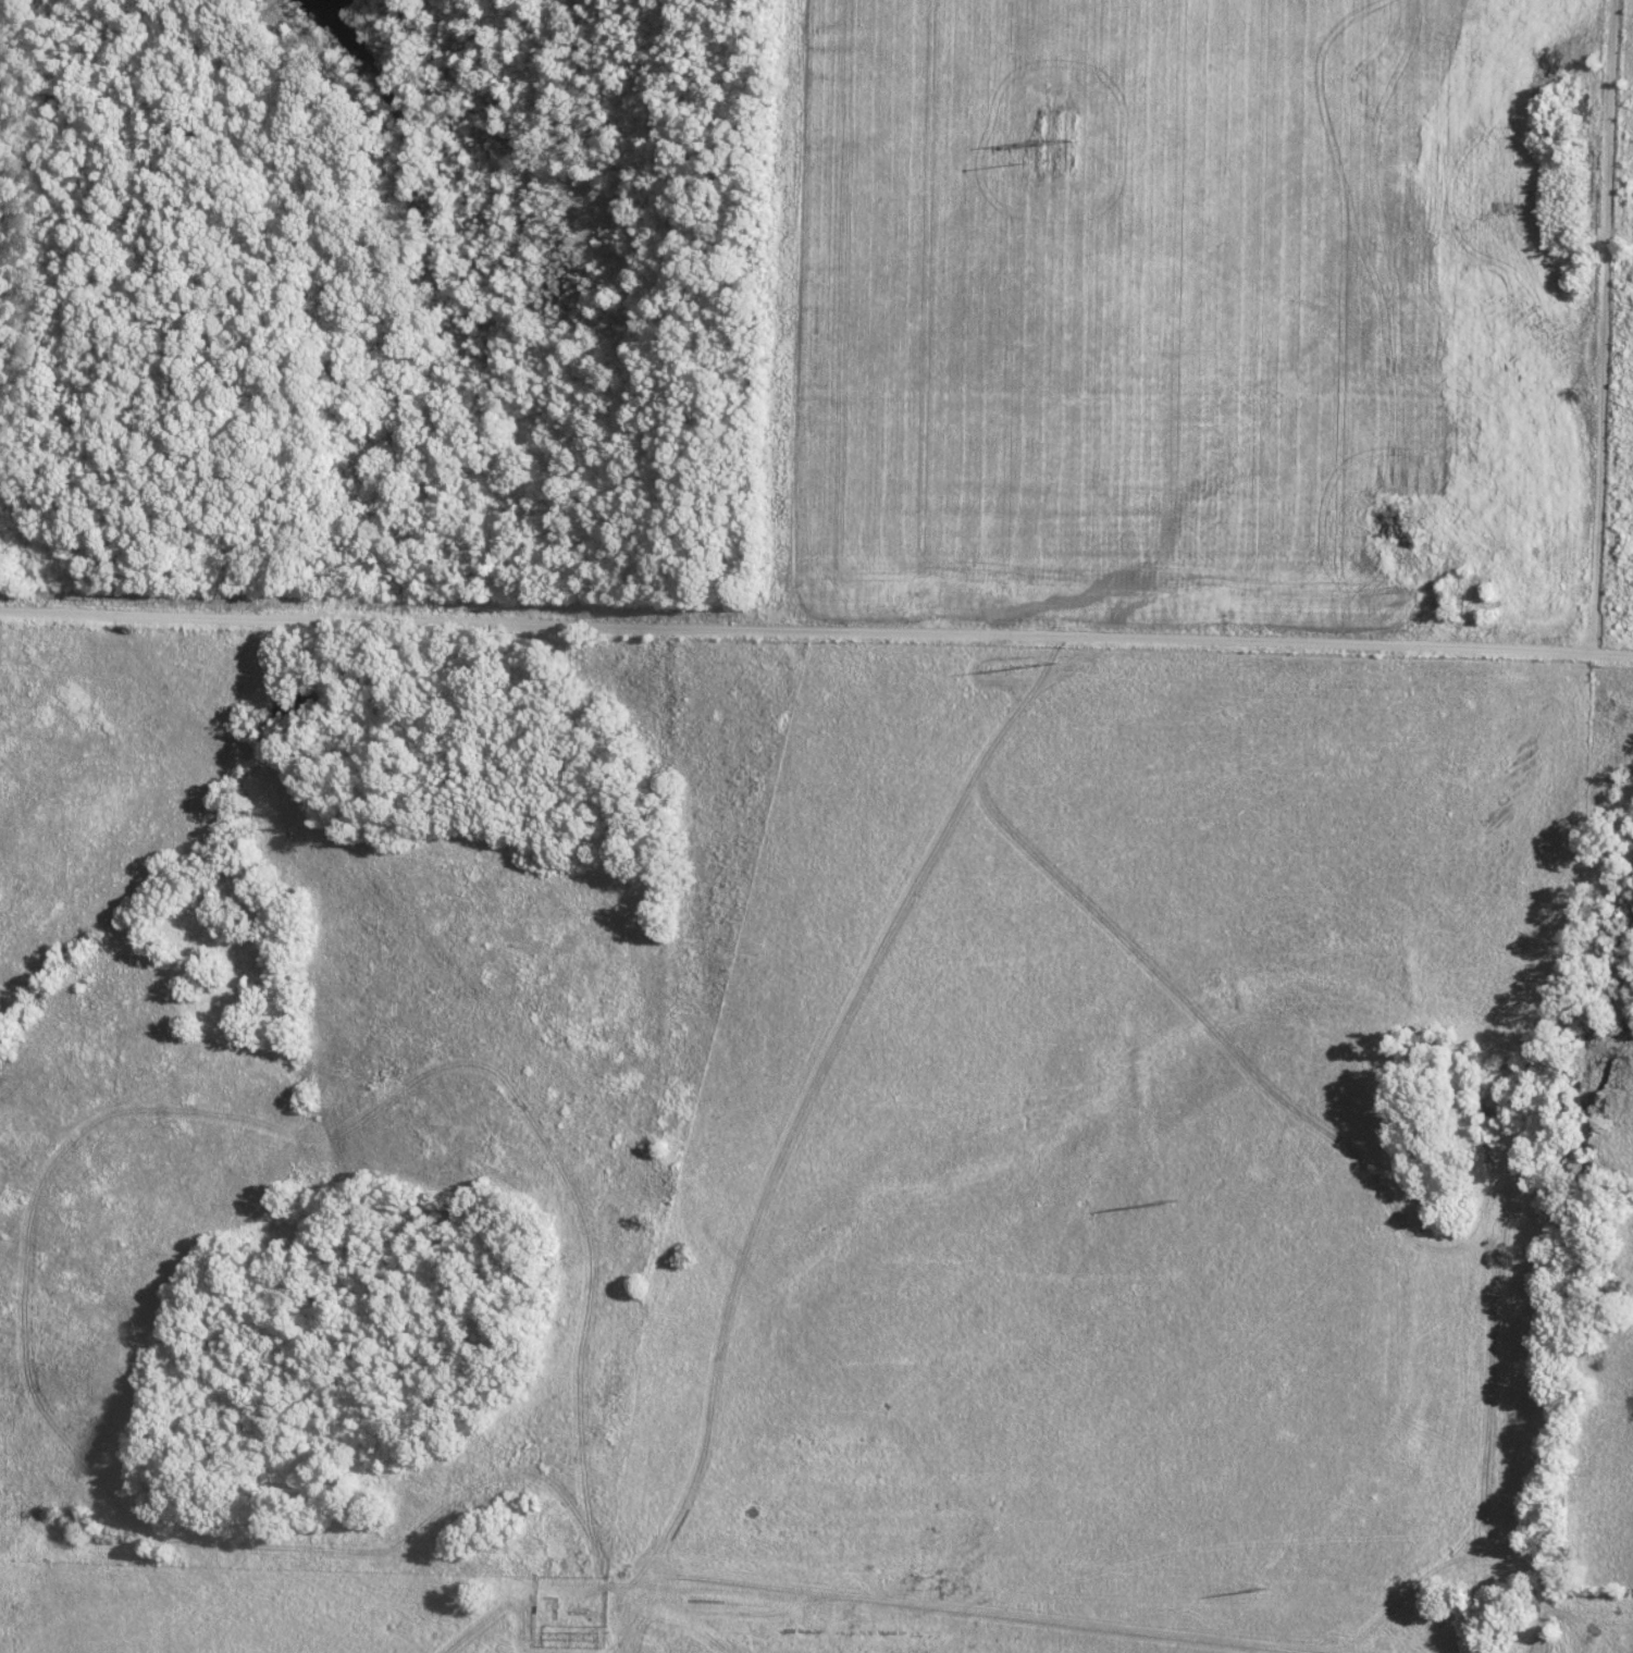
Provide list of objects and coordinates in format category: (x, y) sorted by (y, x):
road: (1604, 324)
road: (816, 633)
road: (811, 1075)

